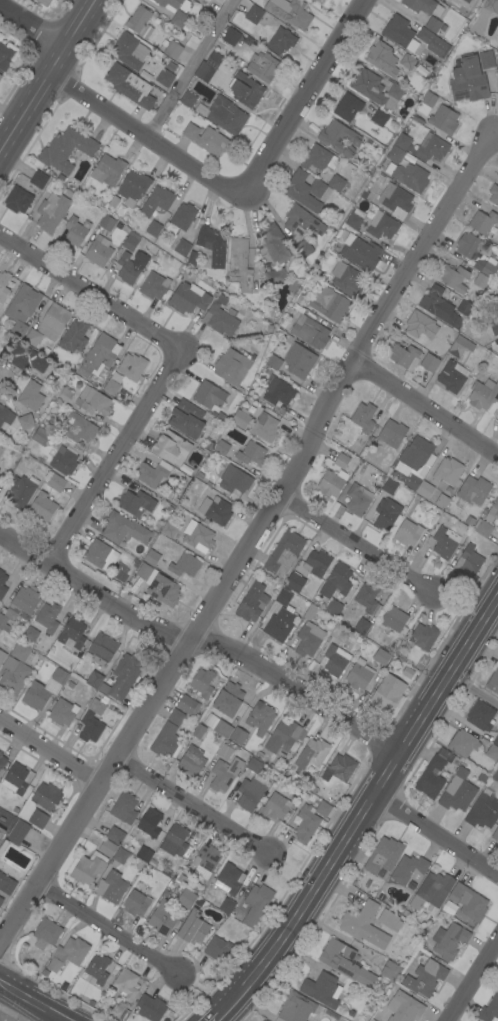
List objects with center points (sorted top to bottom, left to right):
building: (314, 0)
building: (318, 0)
building: (470, 0)
building: (466, 1)
building: (43, 2)
building: (167, 4)
building: (423, 6)
building: (493, 6)
building: (289, 12)
building: (254, 14)
building: (180, 20)
building: (139, 23)
building: (434, 25)
building: (397, 31)
building: (230, 37)
building: (247, 40)
building: (281, 41)
building: (432, 42)
building: (126, 50)
building: (173, 50)
building: (6, 56)
building: (486, 59)
building: (388, 60)
building: (497, 60)
building: (239, 62)
road: (190, 64)
building: (170, 66)
building: (263, 66)
building: (208, 68)
road: (45, 71)
building: (144, 75)
building: (0, 76)
building: (164, 77)
building: (468, 80)
building: (497, 85)
building: (129, 86)
building: (376, 89)
building: (245, 90)
road: (302, 93)
building: (428, 98)
building: (187, 99)
building: (347, 107)
road: (120, 108)
building: (223, 114)
building: (379, 118)
building: (443, 120)
road: (495, 131)
building: (338, 136)
building: (207, 139)
building: (402, 141)
building: (432, 147)
building: (66, 149)
building: (348, 151)
building: (394, 154)
building: (409, 157)
building: (319, 159)
building: (107, 170)
building: (408, 176)
building: (38, 179)
building: (336, 183)
building: (133, 188)
building: (306, 190)
building: (67, 192)
building: (364, 194)
building: (494, 194)
building: (18, 200)
building: (113, 201)
building: (157, 201)
building: (395, 201)
building: (51, 212)
building: (183, 216)
building: (354, 219)
building: (483, 221)
building: (302, 222)
building: (107, 223)
building: (382, 225)
building: (153, 228)
building: (74, 232)
building: (129, 243)
building: (274, 244)
building: (212, 245)
building: (182, 248)
building: (304, 248)
building: (336, 248)
building: (98, 252)
building: (360, 252)
building: (476, 253)
building: (192, 259)
building: (240, 263)
building: (127, 268)
building: (295, 270)
road: (90, 276)
building: (273, 276)
building: (346, 277)
building: (453, 277)
building: (481, 280)
building: (4, 285)
building: (153, 286)
building: (188, 298)
building: (221, 298)
building: (329, 304)
building: (439, 306)
building: (464, 308)
building: (22, 309)
building: (495, 309)
building: (220, 319)
building: (53, 321)
building: (420, 327)
building: (494, 328)
building: (309, 331)
building: (74, 336)
building: (32, 337)
building: (460, 346)
building: (98, 356)
building: (404, 356)
building: (27, 358)
building: (299, 360)
building: (274, 362)
building: (429, 363)
building: (131, 366)
building: (232, 367)
building: (452, 376)
building: (111, 387)
building: (278, 392)
building: (483, 394)
building: (208, 395)
building: (30, 396)
building: (86, 400)
road: (424, 407)
building: (247, 410)
building: (5, 415)
building: (220, 415)
building: (366, 417)
building: (186, 419)
building: (240, 419)
building: (25, 422)
building: (264, 427)
building: (78, 430)
building: (392, 434)
building: (40, 436)
road: (113, 447)
building: (170, 447)
building: (221, 448)
building: (251, 454)
building: (415, 457)
building: (62, 460)
building: (186, 470)
building: (448, 471)
building: (153, 473)
building: (333, 475)
building: (0, 478)
building: (234, 480)
building: (412, 481)
building: (56, 483)
building: (389, 486)
building: (424, 489)
building: (21, 490)
building: (471, 492)
building: (356, 500)
building: (441, 501)
building: (135, 503)
building: (41, 508)
building: (215, 510)
building: (492, 512)
building: (386, 513)
building: (122, 528)
building: (482, 528)
building: (168, 530)
building: (407, 533)
building: (199, 537)
road: (249, 537)
building: (443, 541)
road: (356, 542)
building: (96, 553)
building: (284, 553)
building: (152, 558)
building: (468, 562)
building: (316, 563)
building: (184, 565)
building: (144, 571)
building: (294, 582)
building: (336, 582)
building: (2, 587)
building: (163, 590)
building: (283, 596)
building: (366, 598)
building: (252, 602)
building: (19, 605)
road: (458, 605)
building: (334, 608)
building: (310, 612)
building: (47, 618)
building: (393, 619)
building: (280, 624)
building: (362, 626)
building: (0, 630)
building: (72, 632)
building: (30, 633)
building: (424, 636)
building: (308, 639)
road: (200, 640)
building: (102, 649)
building: (20, 651)
building: (2, 656)
building: (381, 657)
building: (334, 661)
building: (29, 663)
building: (13, 675)
building: (359, 675)
building: (59, 676)
building: (123, 677)
building: (94, 679)
building: (493, 682)
building: (202, 683)
building: (70, 685)
road: (473, 688)
building: (35, 695)
building: (385, 697)
building: (228, 699)
building: (98, 705)
building: (187, 705)
building: (61, 712)
building: (480, 716)
building: (176, 717)
building: (260, 718)
building: (90, 727)
building: (223, 729)
building: (198, 731)
building: (238, 736)
building: (284, 738)
building: (165, 740)
building: (496, 741)
building: (462, 743)
road: (49, 750)
building: (224, 751)
building: (312, 753)
building: (492, 753)
building: (2, 760)
building: (191, 761)
building: (253, 765)
building: (338, 768)
building: (224, 774)
building: (495, 775)
building: (18, 777)
building: (430, 778)
building: (457, 791)
building: (249, 792)
building: (46, 796)
road: (192, 803)
road: (365, 803)
building: (275, 806)
building: (124, 808)
building: (323, 809)
building: (482, 811)
building: (38, 819)
building: (306, 824)
building: (147, 825)
building: (1, 832)
building: (17, 832)
building: (495, 834)
building: (115, 835)
road: (435, 835)
building: (174, 840)
building: (107, 849)
building: (144, 854)
building: (120, 856)
building: (383, 857)
building: (202, 861)
road: (294, 865)
building: (88, 868)
building: (409, 869)
building: (229, 879)
building: (6, 884)
building: (110, 887)
building: (432, 891)
building: (186, 898)
building: (1, 900)
building: (468, 902)
building: (136, 903)
building: (256, 904)
building: (226, 906)
building: (161, 919)
building: (358, 919)
building: (388, 920)
road: (107, 927)
building: (197, 927)
building: (46, 933)
building: (449, 940)
building: (218, 949)
building: (68, 954)
building: (345, 963)
building: (98, 969)
building: (390, 971)
building: (425, 978)
building: (126, 984)
road: (476, 986)
road: (202, 989)
building: (322, 989)
road: (33, 1001)
building: (91, 1002)
building: (150, 1007)
building: (296, 1007)
building: (404, 1007)
building: (489, 1009)
road: (217, 1014)
building: (263, 1020)
building: (264, 1020)

